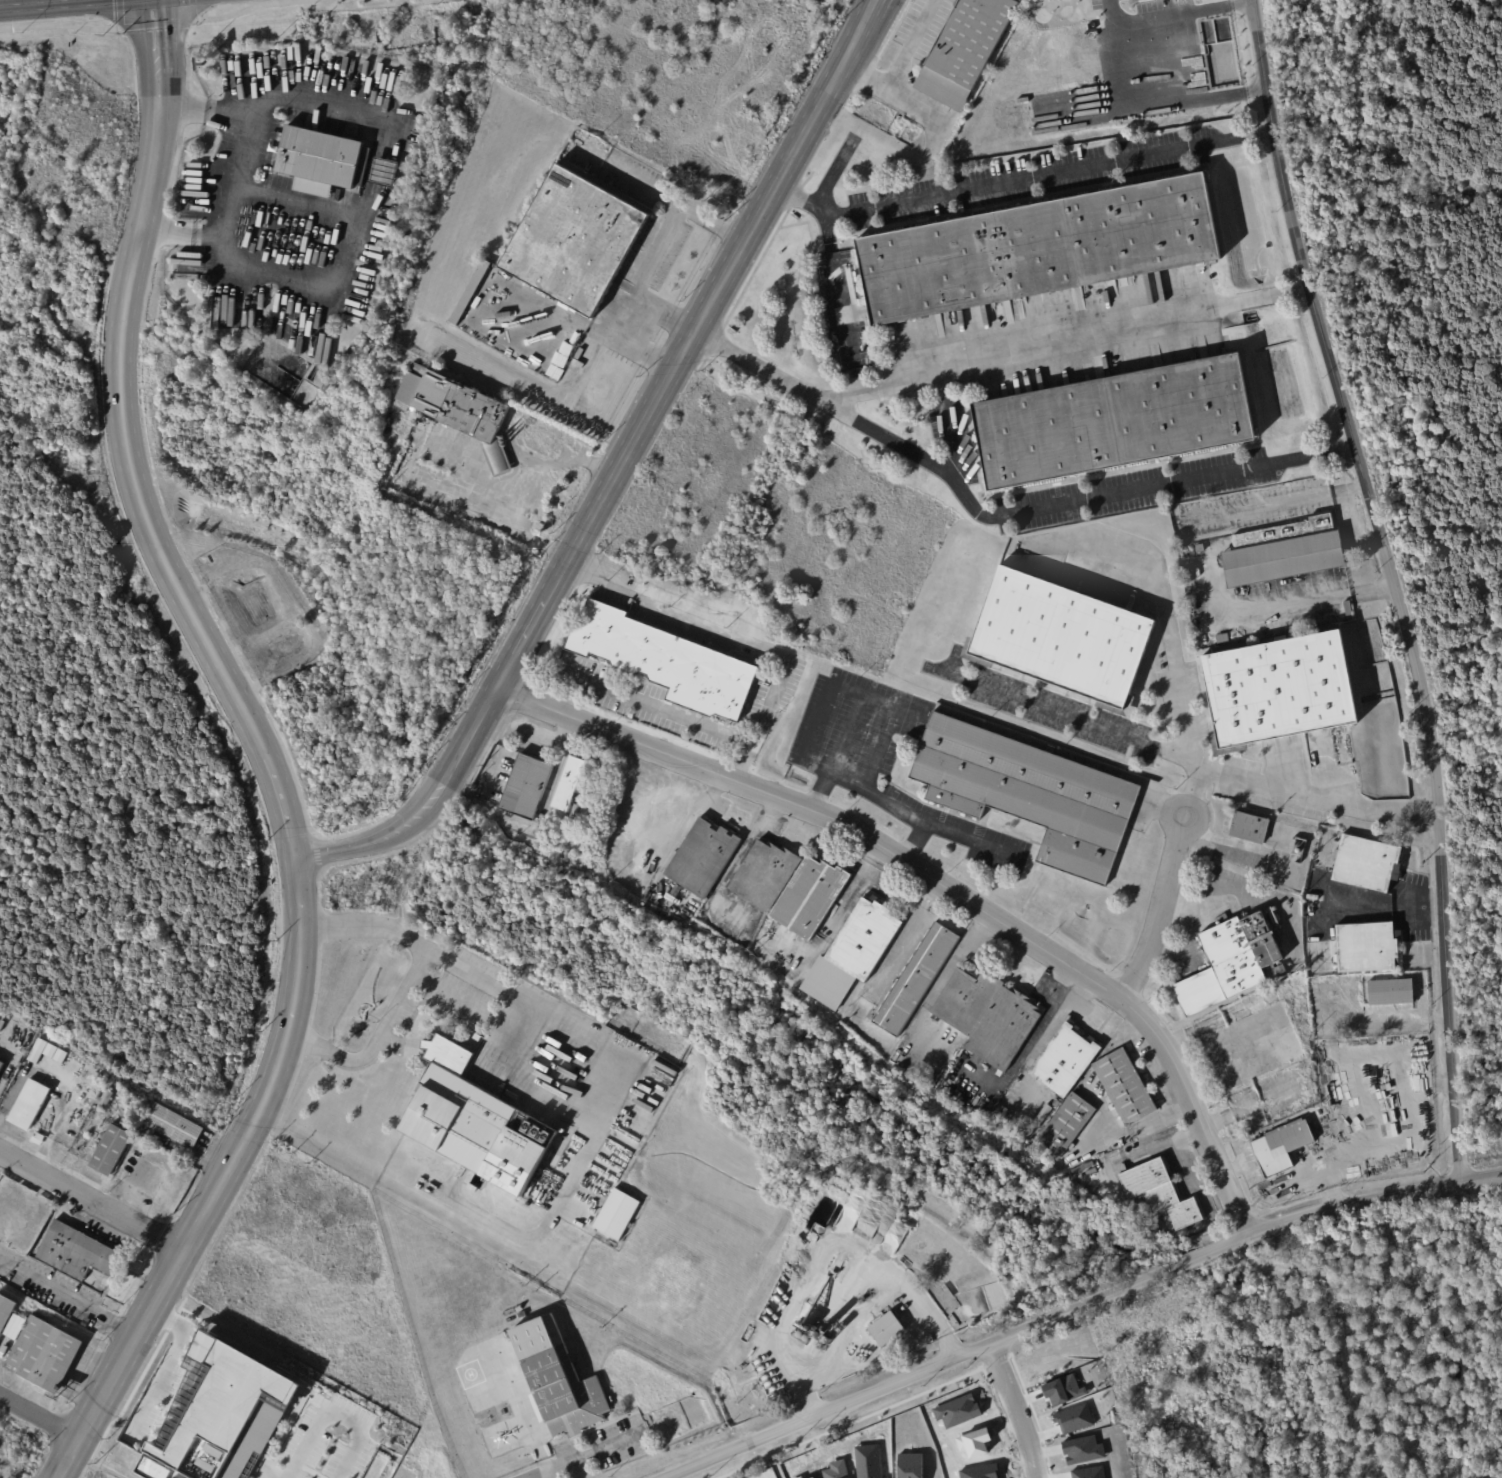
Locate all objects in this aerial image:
road: (15, 1)
road: (862, 12)
road: (870, 12)
road: (1186, 17)
road: (143, 26)
building: (965, 50)
road: (903, 65)
road: (1157, 95)
road: (276, 98)
building: (323, 158)
building: (387, 171)
road: (1048, 171)
road: (229, 188)
road: (290, 196)
road: (180, 230)
building: (576, 241)
building: (1041, 249)
road: (648, 269)
road: (311, 286)
road: (837, 287)
building: (470, 293)
road: (666, 312)
building: (471, 326)
road: (1077, 328)
road: (1274, 344)
building: (461, 411)
building: (1113, 423)
road: (125, 441)
road: (613, 480)
building: (395, 485)
parking lot: (1132, 489)
road: (535, 492)
road: (465, 508)
road: (998, 515)
building: (1285, 553)
road: (1392, 585)
road: (1302, 601)
building: (1061, 639)
road: (738, 640)
building: (668, 662)
road: (851, 691)
building: (1280, 691)
road: (642, 703)
road: (1058, 712)
parking lot: (1060, 714)
road: (1186, 745)
building: (568, 783)
building: (526, 787)
road: (1190, 790)
building: (1029, 793)
road: (877, 795)
building: (1249, 828)
building: (703, 857)
building: (1367, 864)
building: (766, 875)
road: (939, 885)
building: (678, 891)
building: (647, 897)
building: (812, 898)
building: (1312, 898)
building: (644, 904)
road: (1384, 904)
road: (1155, 912)
building: (1365, 948)
building: (853, 953)
building: (1231, 964)
building: (1275, 971)
road: (480, 977)
building: (916, 980)
road: (405, 981)
building: (1391, 993)
building: (968, 1000)
building: (3, 1026)
building: (1005, 1029)
road: (1128, 1029)
building: (478, 1038)
building: (22, 1050)
building: (37, 1051)
building: (51, 1052)
building: (60, 1057)
building: (1065, 1061)
building: (1, 1067)
building: (92, 1074)
road: (1427, 1081)
building: (1125, 1088)
building: (105, 1100)
building: (30, 1106)
building: (470, 1122)
building: (1068, 1123)
building: (171, 1127)
road: (1128, 1132)
building: (1278, 1147)
building: (111, 1152)
road: (221, 1177)
road: (1481, 1177)
road: (1481, 1181)
road: (1329, 1186)
building: (473, 1188)
building: (1160, 1191)
road: (91, 1200)
building: (617, 1215)
building: (77, 1253)
road: (69, 1294)
road: (869, 1306)
building: (110, 1310)
building: (6, 1313)
building: (1465, 1313)
road: (1056, 1314)
building: (22, 1325)
building: (888, 1330)
building: (758, 1348)
building: (852, 1352)
building: (46, 1355)
road: (997, 1360)
building: (556, 1378)
helipad: (478, 1386)
airport apron: (501, 1393)
road: (905, 1399)
road: (1018, 1408)
helipad: (506, 1409)
road: (1036, 1415)
building: (221, 1416)
road: (334, 1420)
road: (38, 1421)
helipad: (500, 1438)
road: (777, 1466)

